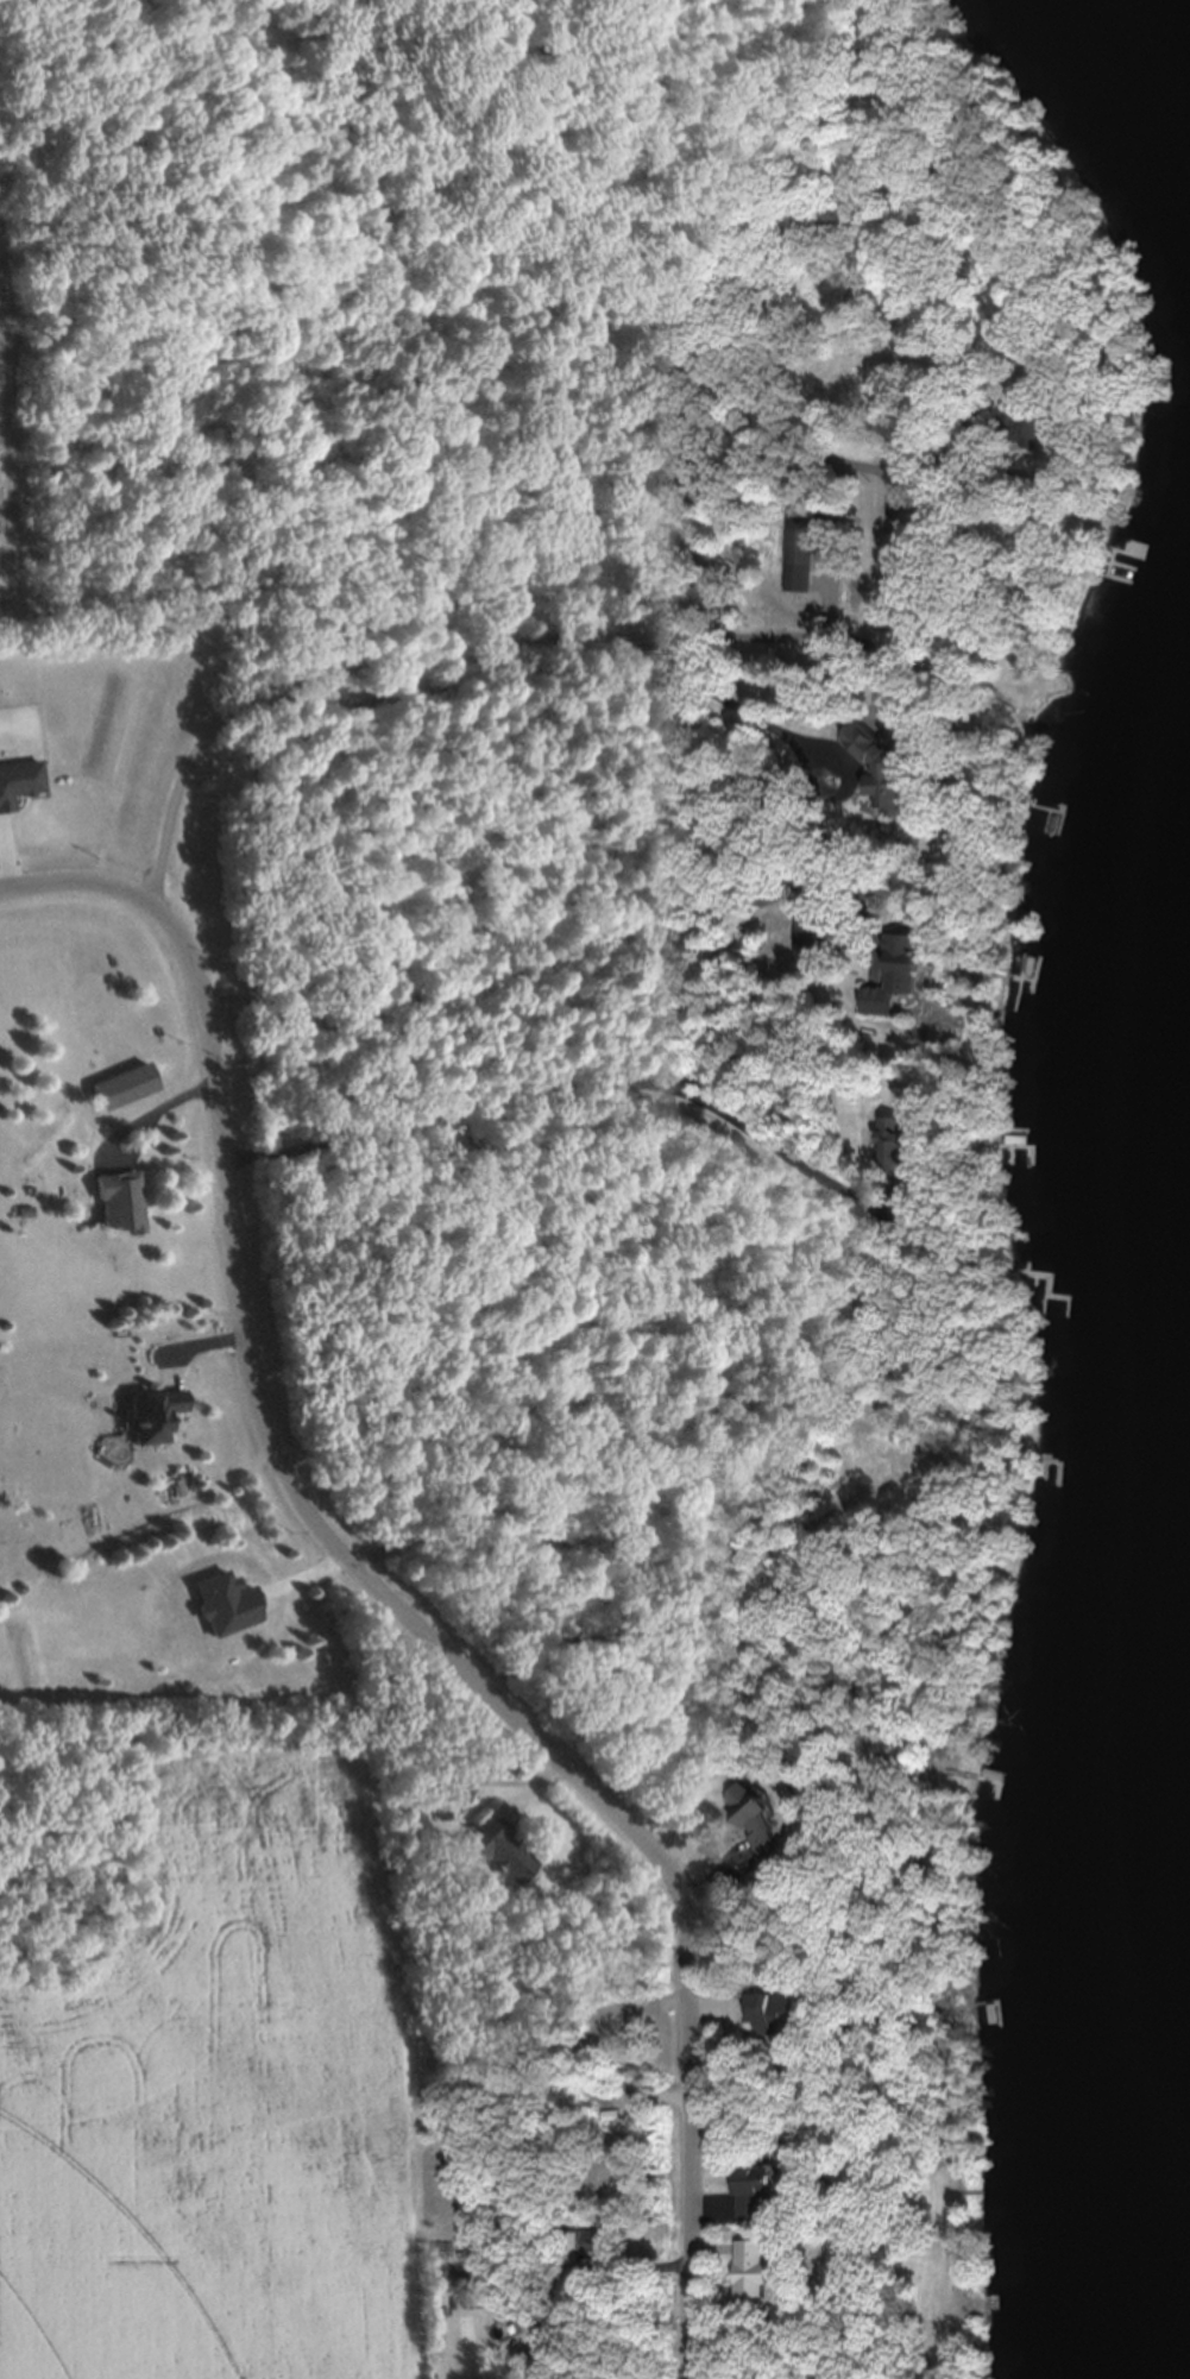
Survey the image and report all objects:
building: (1019, 424)
building: (925, 520)
building: (805, 546)
road: (401, 682)
building: (892, 760)
building: (19, 780)
building: (905, 975)
road: (571, 1085)
building: (902, 1141)
building: (120, 1201)
building: (156, 1415)
road: (377, 1597)
building: (764, 1821)
building: (499, 1849)
building: (786, 2010)
building: (763, 2188)
building: (597, 2240)
building: (762, 2266)

